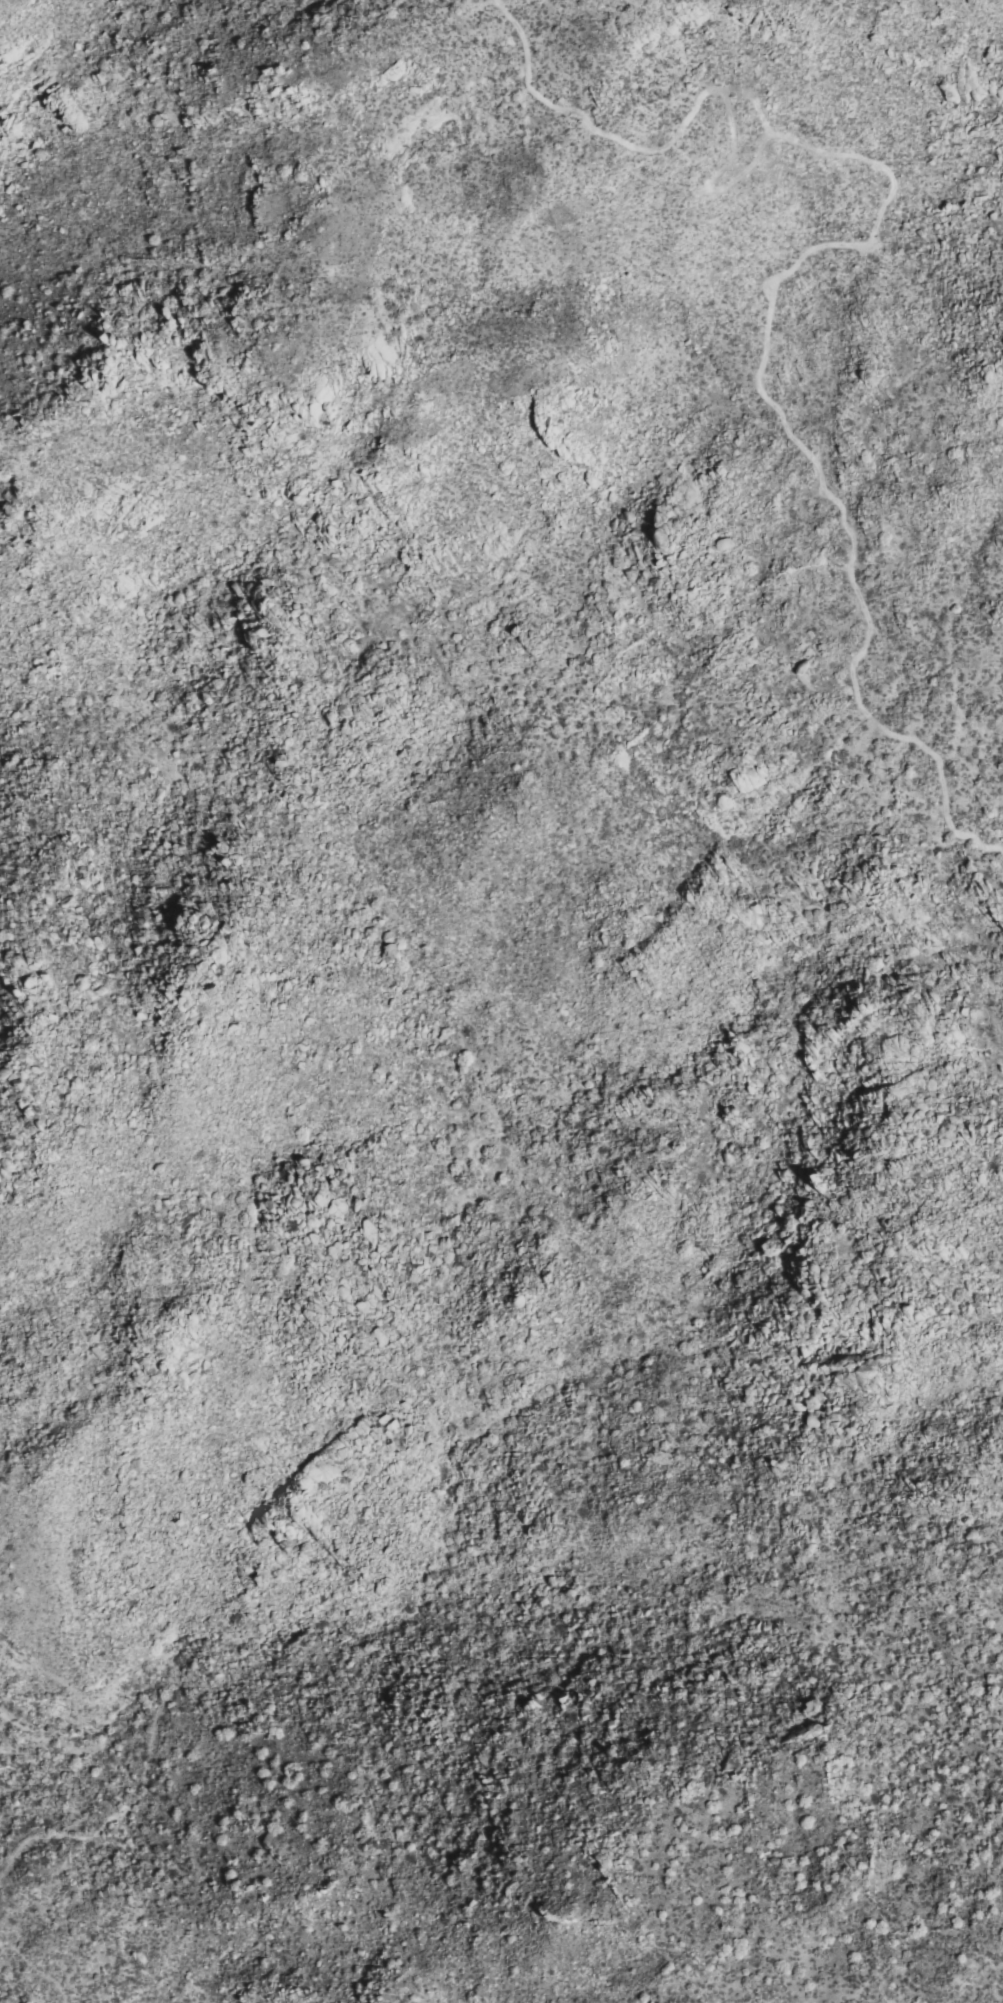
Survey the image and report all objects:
road: (833, 243)
road: (151, 1714)
road: (31, 1970)

